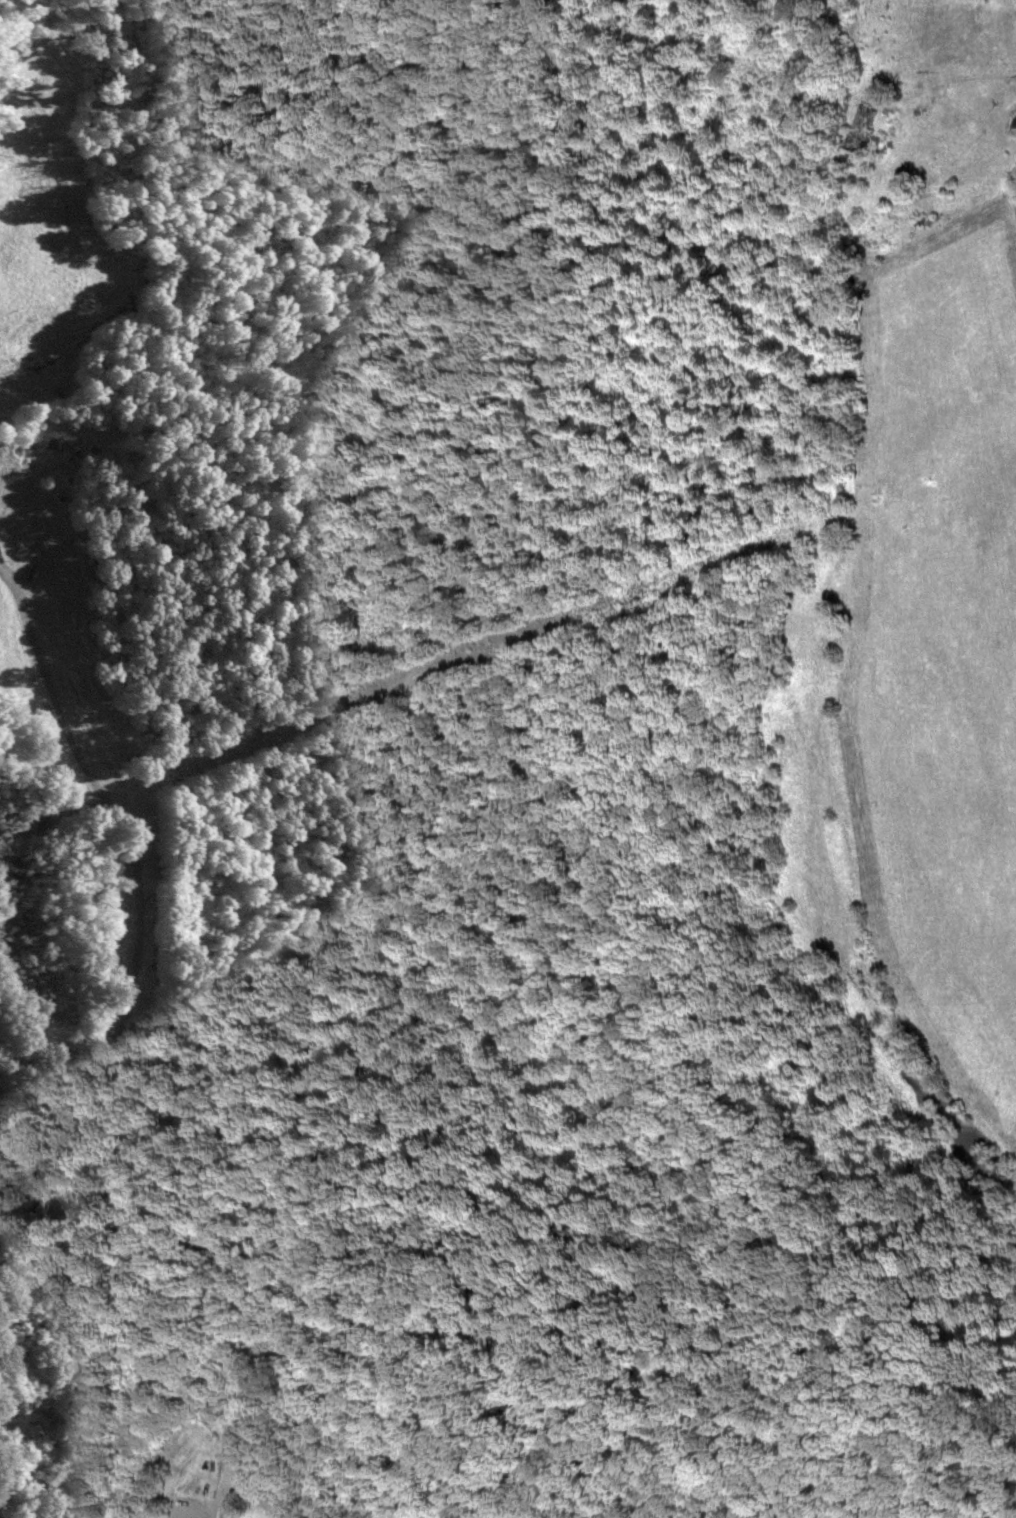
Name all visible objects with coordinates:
road: (141, 1060)
road: (1014, 1207)
building: (192, 1483)

